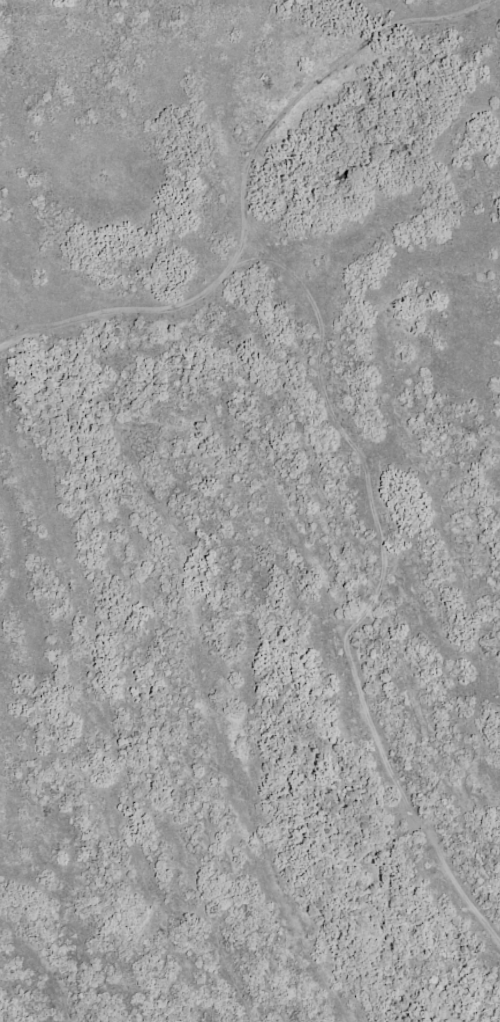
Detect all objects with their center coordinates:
road: (250, 207)

